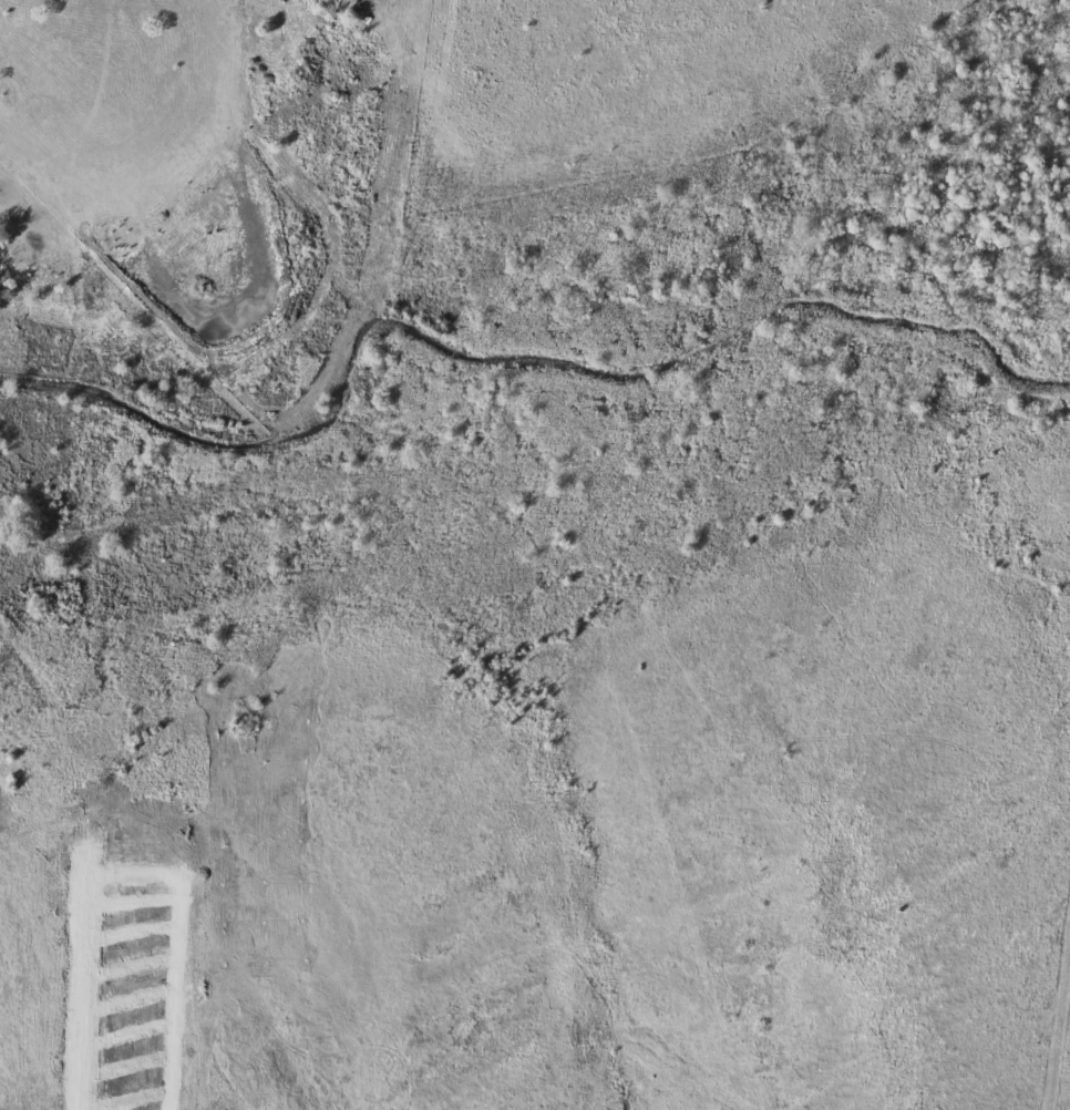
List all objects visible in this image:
road: (83, 991)

